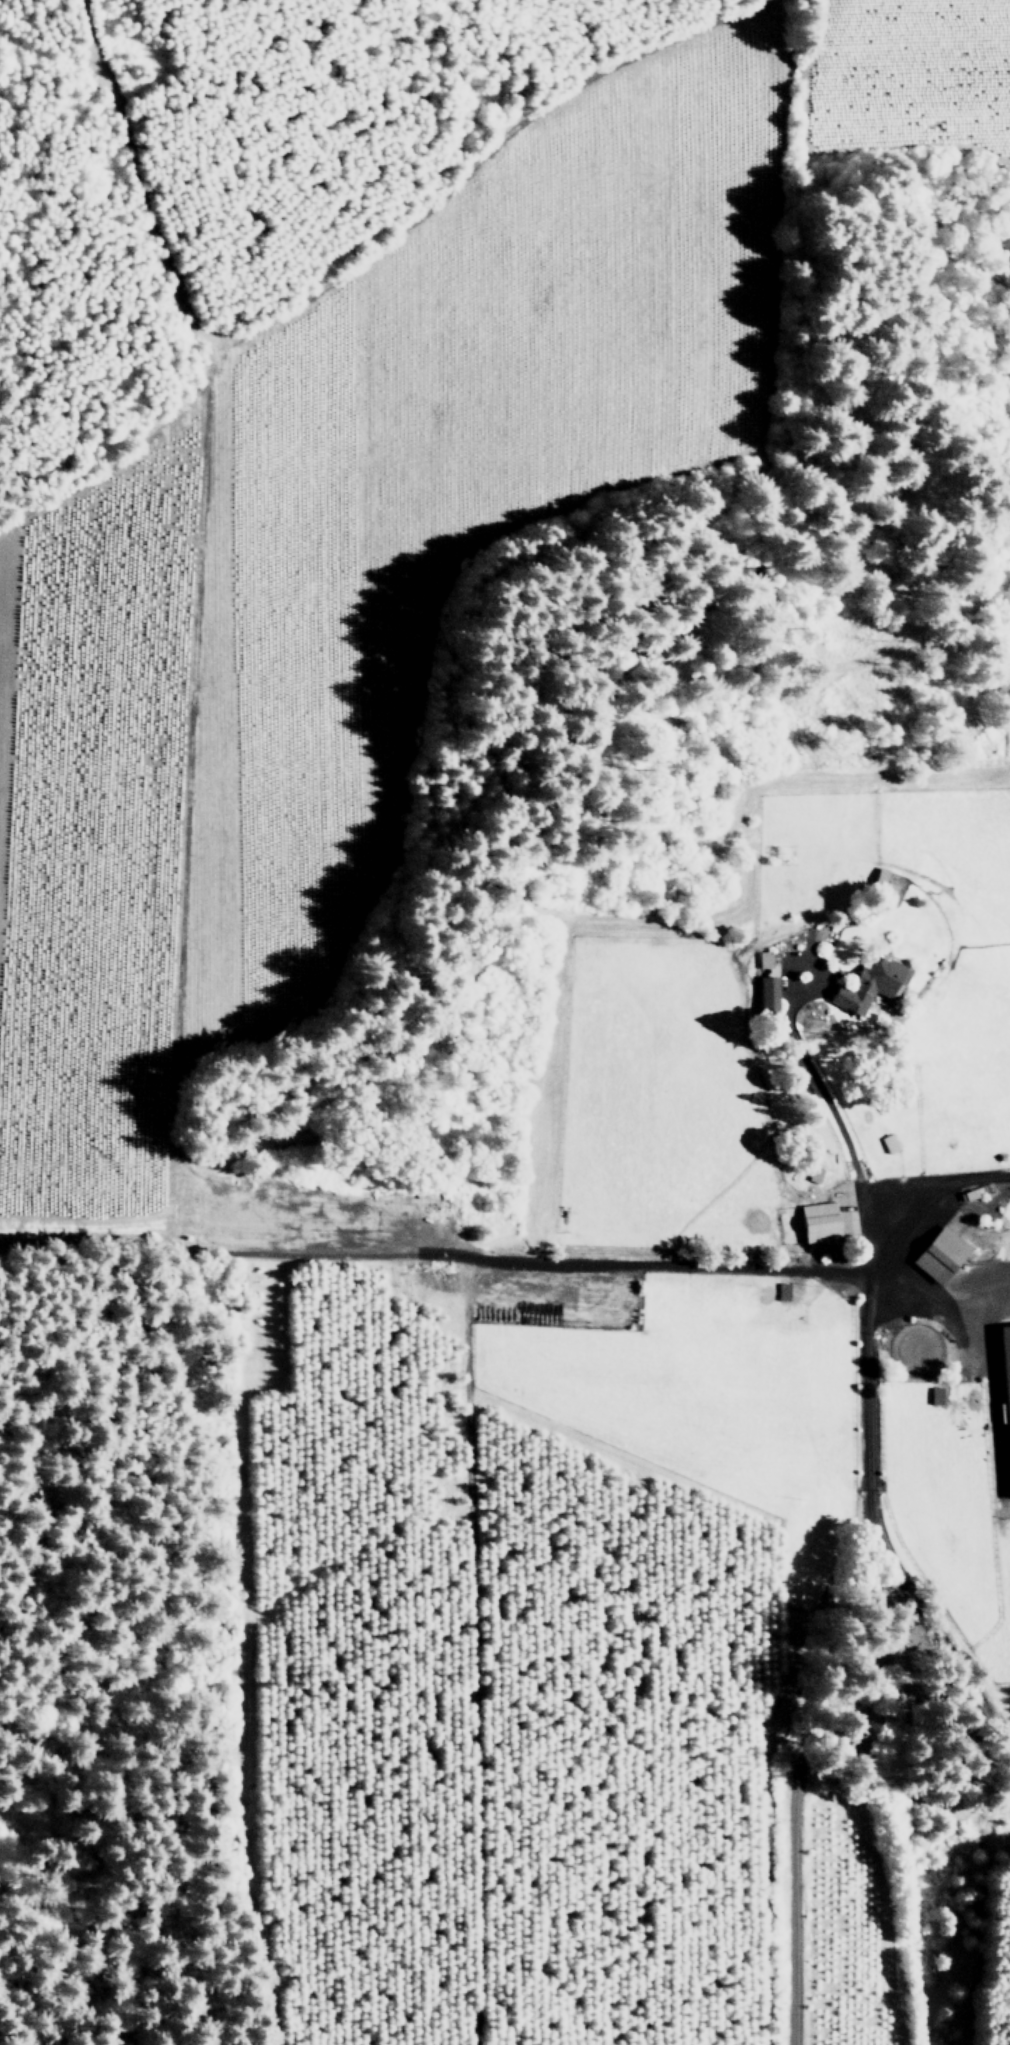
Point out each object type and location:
road: (184, 786)
crop: (594, 881)
building: (767, 981)
building: (871, 985)
building: (813, 1174)
road: (922, 1203)
building: (820, 1222)
building: (941, 1255)
building: (782, 1291)
building: (1006, 1372)
building: (935, 1396)
road: (864, 1450)
road: (812, 1726)

